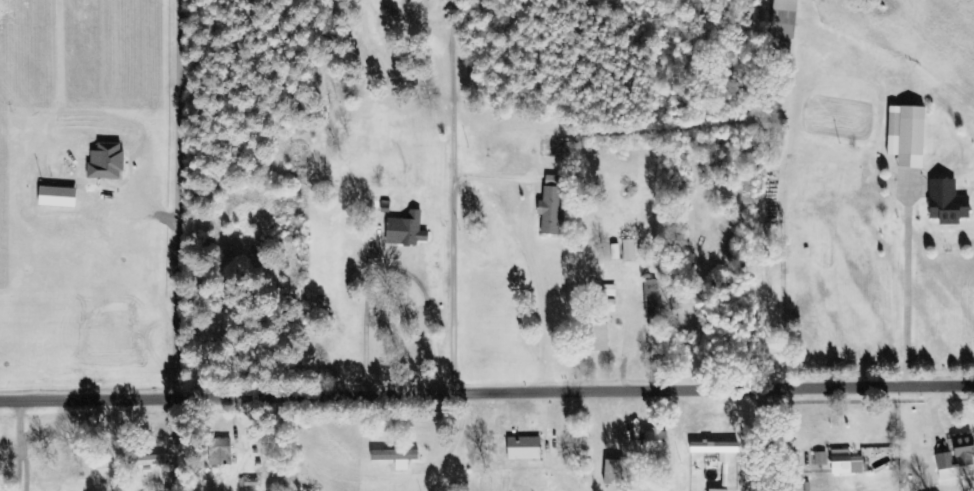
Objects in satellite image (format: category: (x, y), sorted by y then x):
building: (783, 19)
building: (909, 135)
building: (947, 202)
building: (552, 205)
building: (407, 230)
building: (629, 249)
building: (609, 290)
building: (651, 298)
building: (598, 337)
road: (487, 391)
road: (774, 438)
building: (650, 441)
road: (367, 442)
building: (524, 448)
building: (717, 449)
building: (220, 451)
building: (396, 457)
building: (820, 458)
building: (957, 459)
building: (140, 461)
building: (846, 463)
building: (615, 472)
building: (247, 483)
building: (718, 490)

